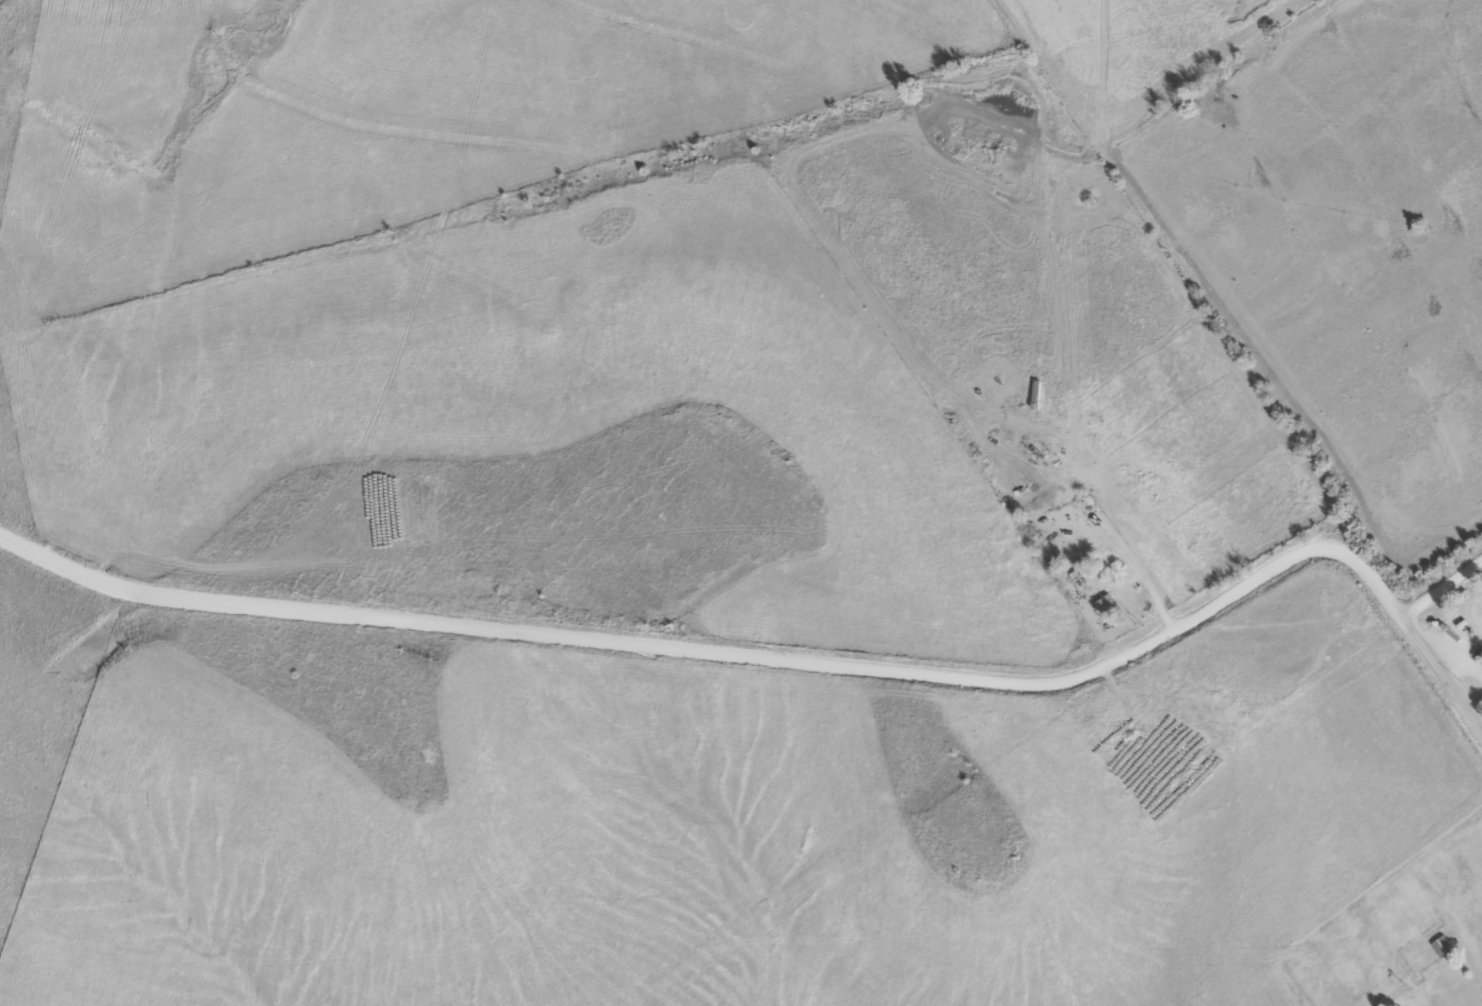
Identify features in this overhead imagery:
road: (1436, 582)
building: (1119, 602)
road: (723, 657)
road: (1433, 681)
building: (1439, 948)
road: (1481, 962)

